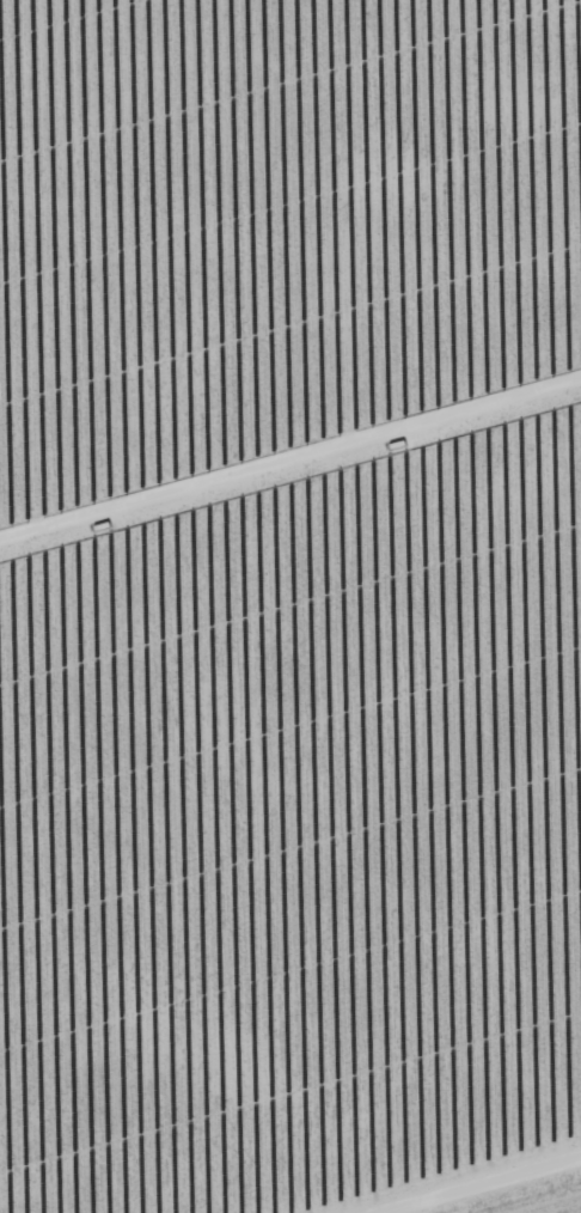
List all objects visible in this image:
solar farm: (289, 604)

